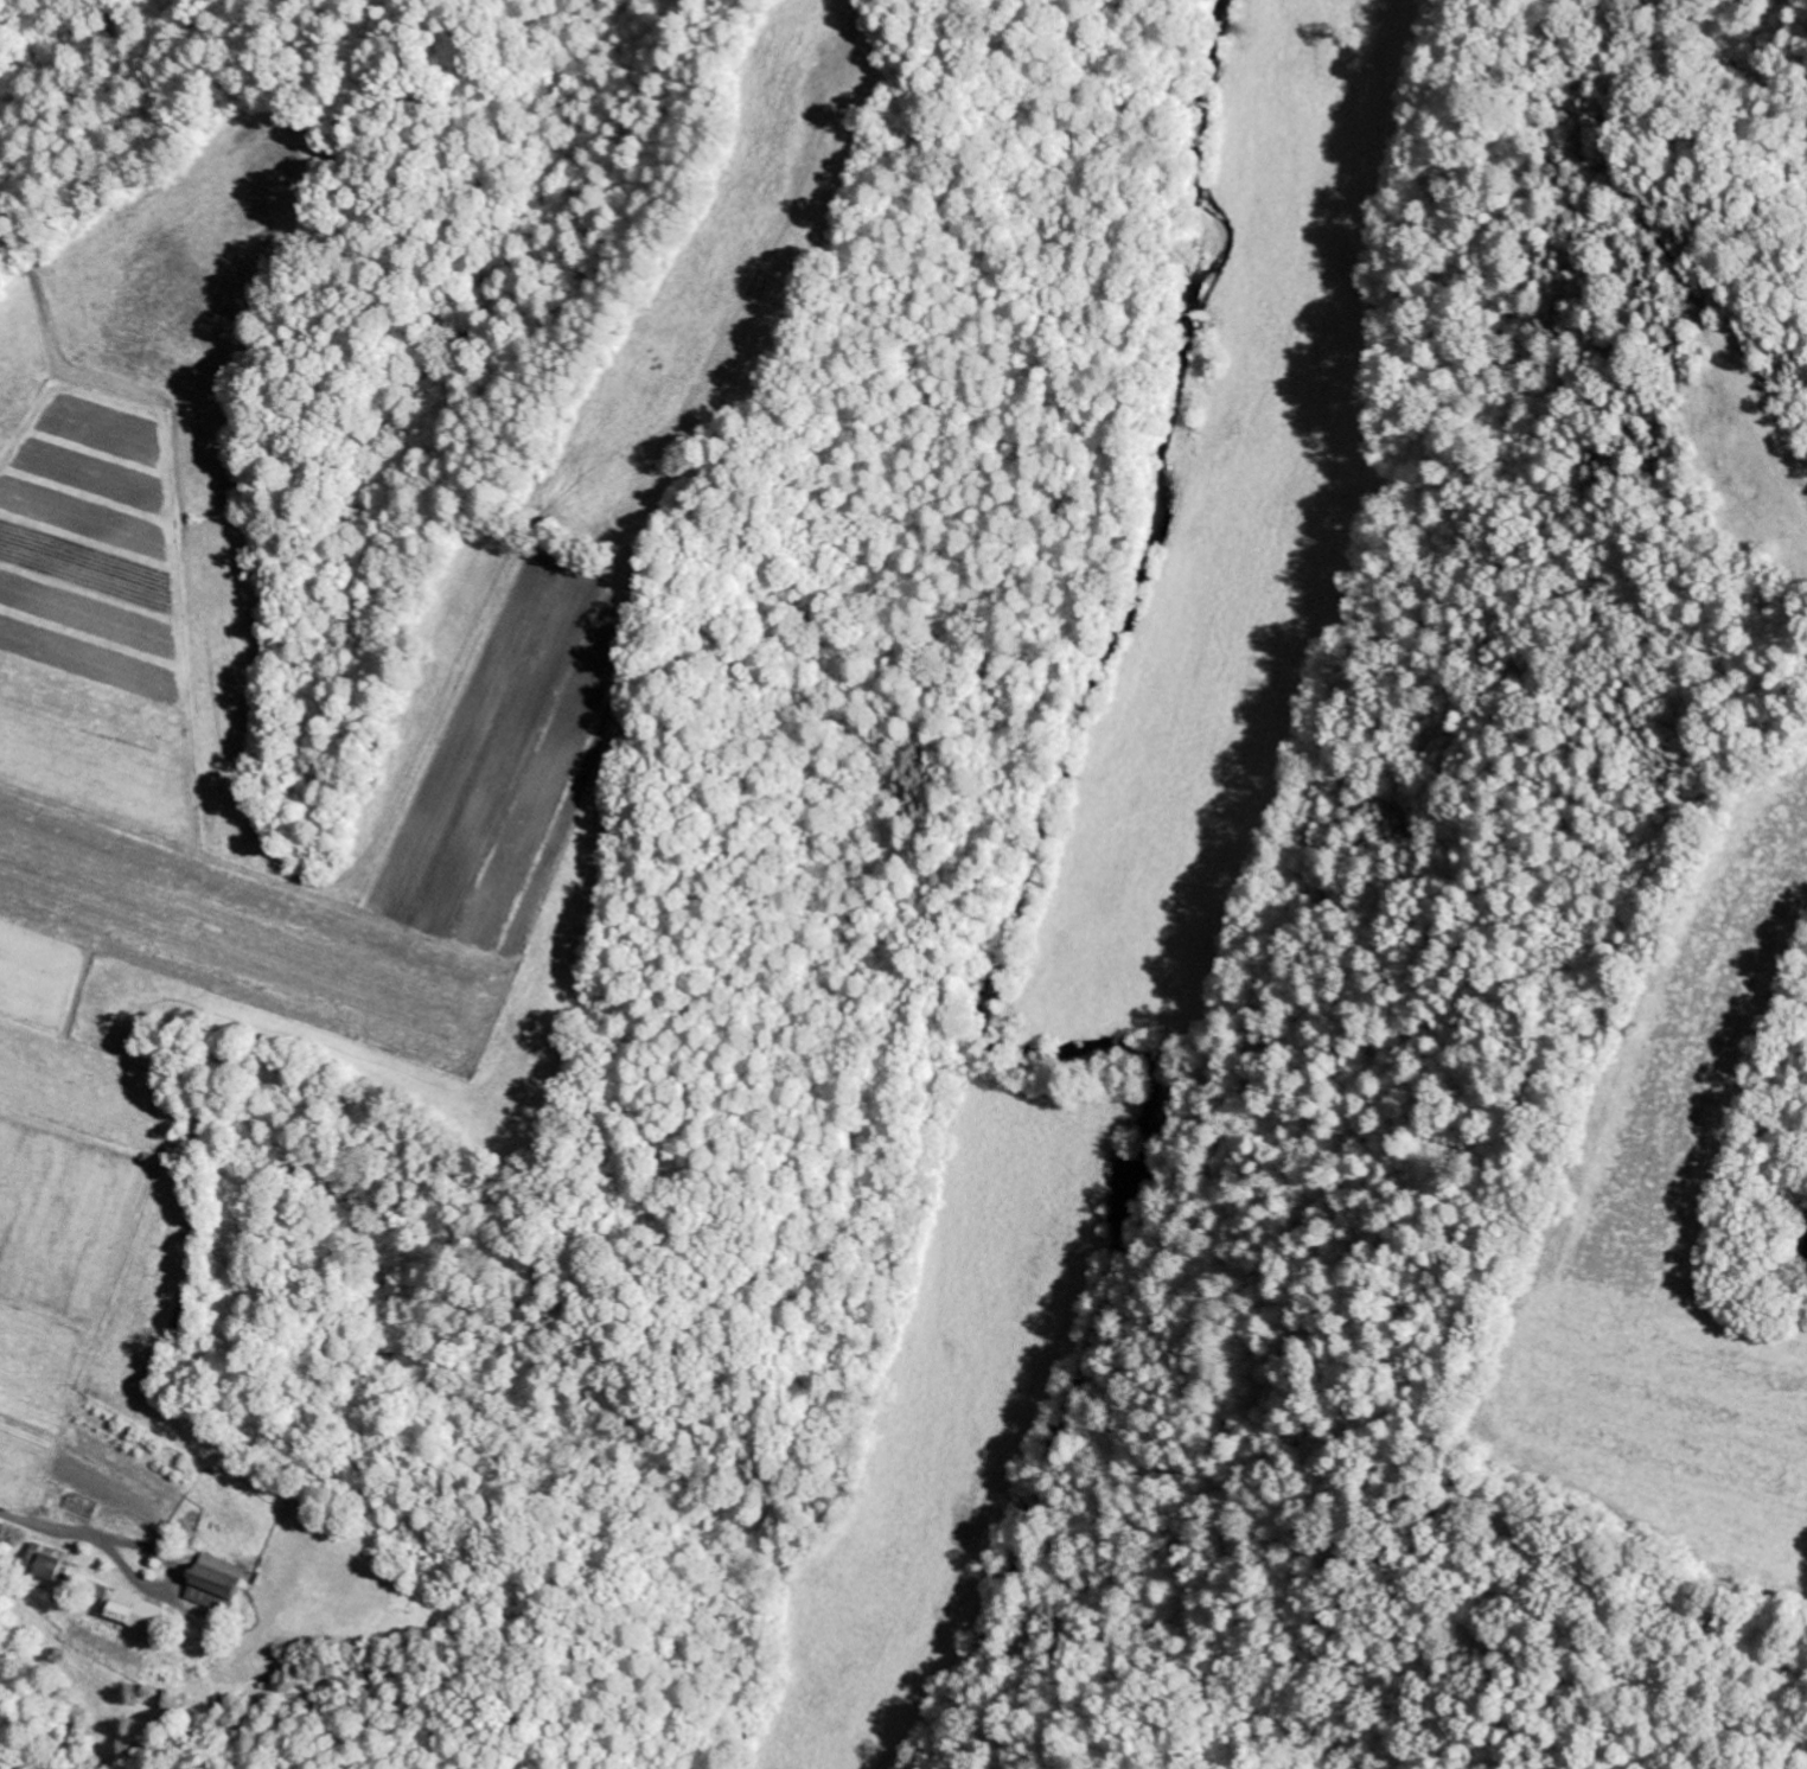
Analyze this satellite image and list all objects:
building: (43, 1563)
building: (207, 1582)
building: (120, 1607)

